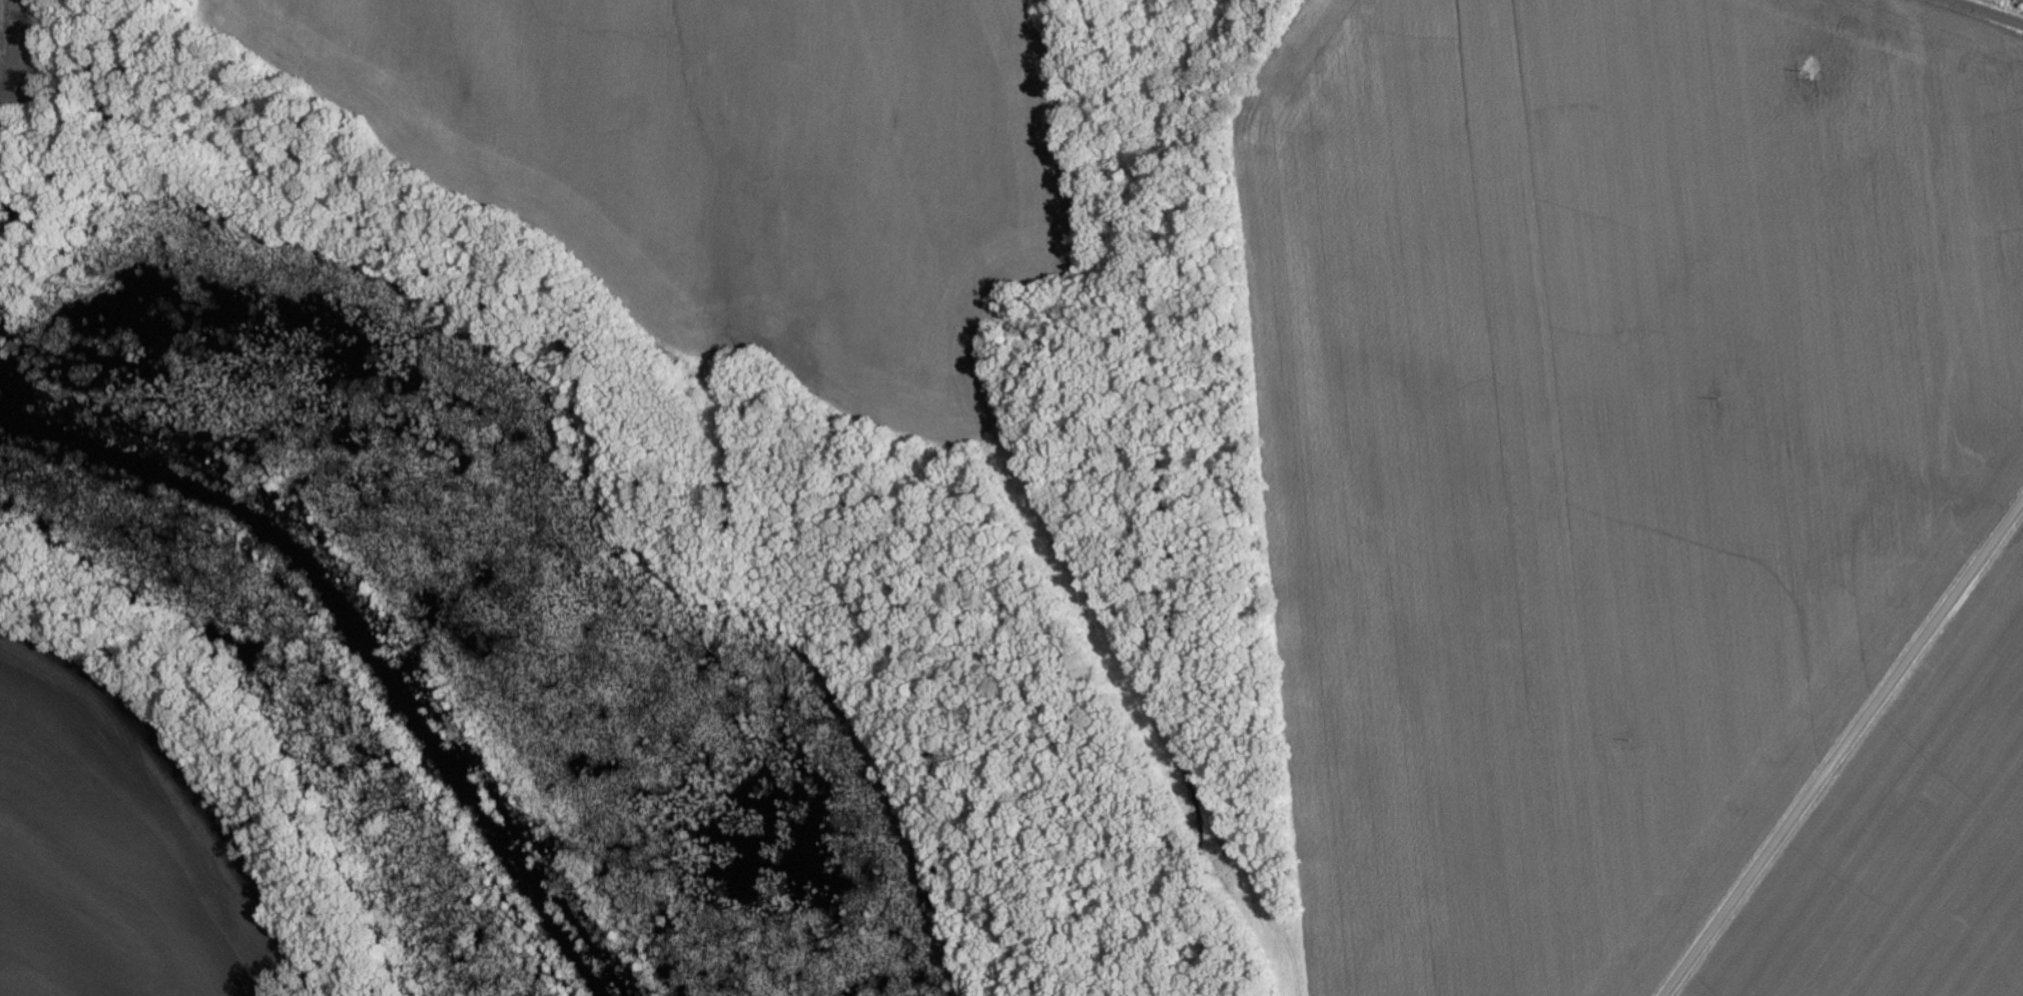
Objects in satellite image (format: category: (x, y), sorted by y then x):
road: (1985, 12)
road: (1988, 146)
road: (1843, 749)

